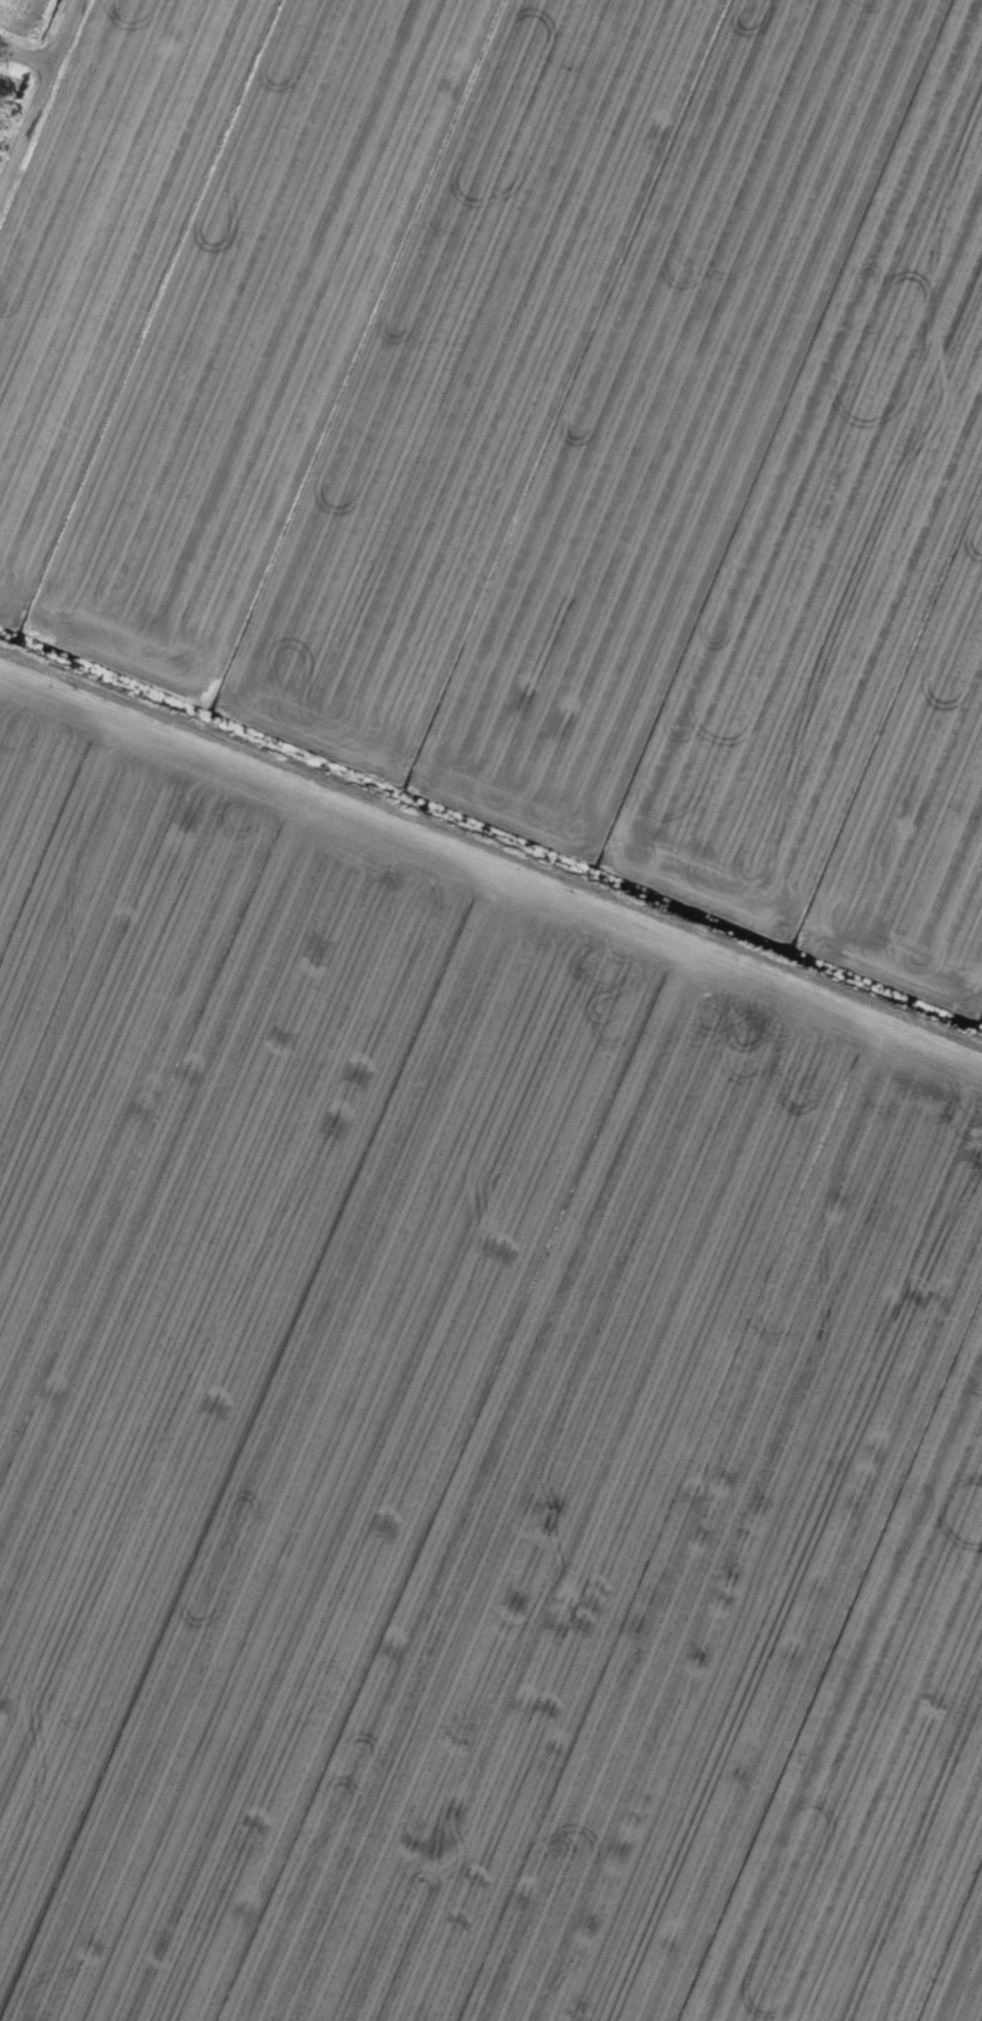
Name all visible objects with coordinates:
road: (27, 54)
road: (38, 105)
road: (491, 855)
crop: (491, 1010)

